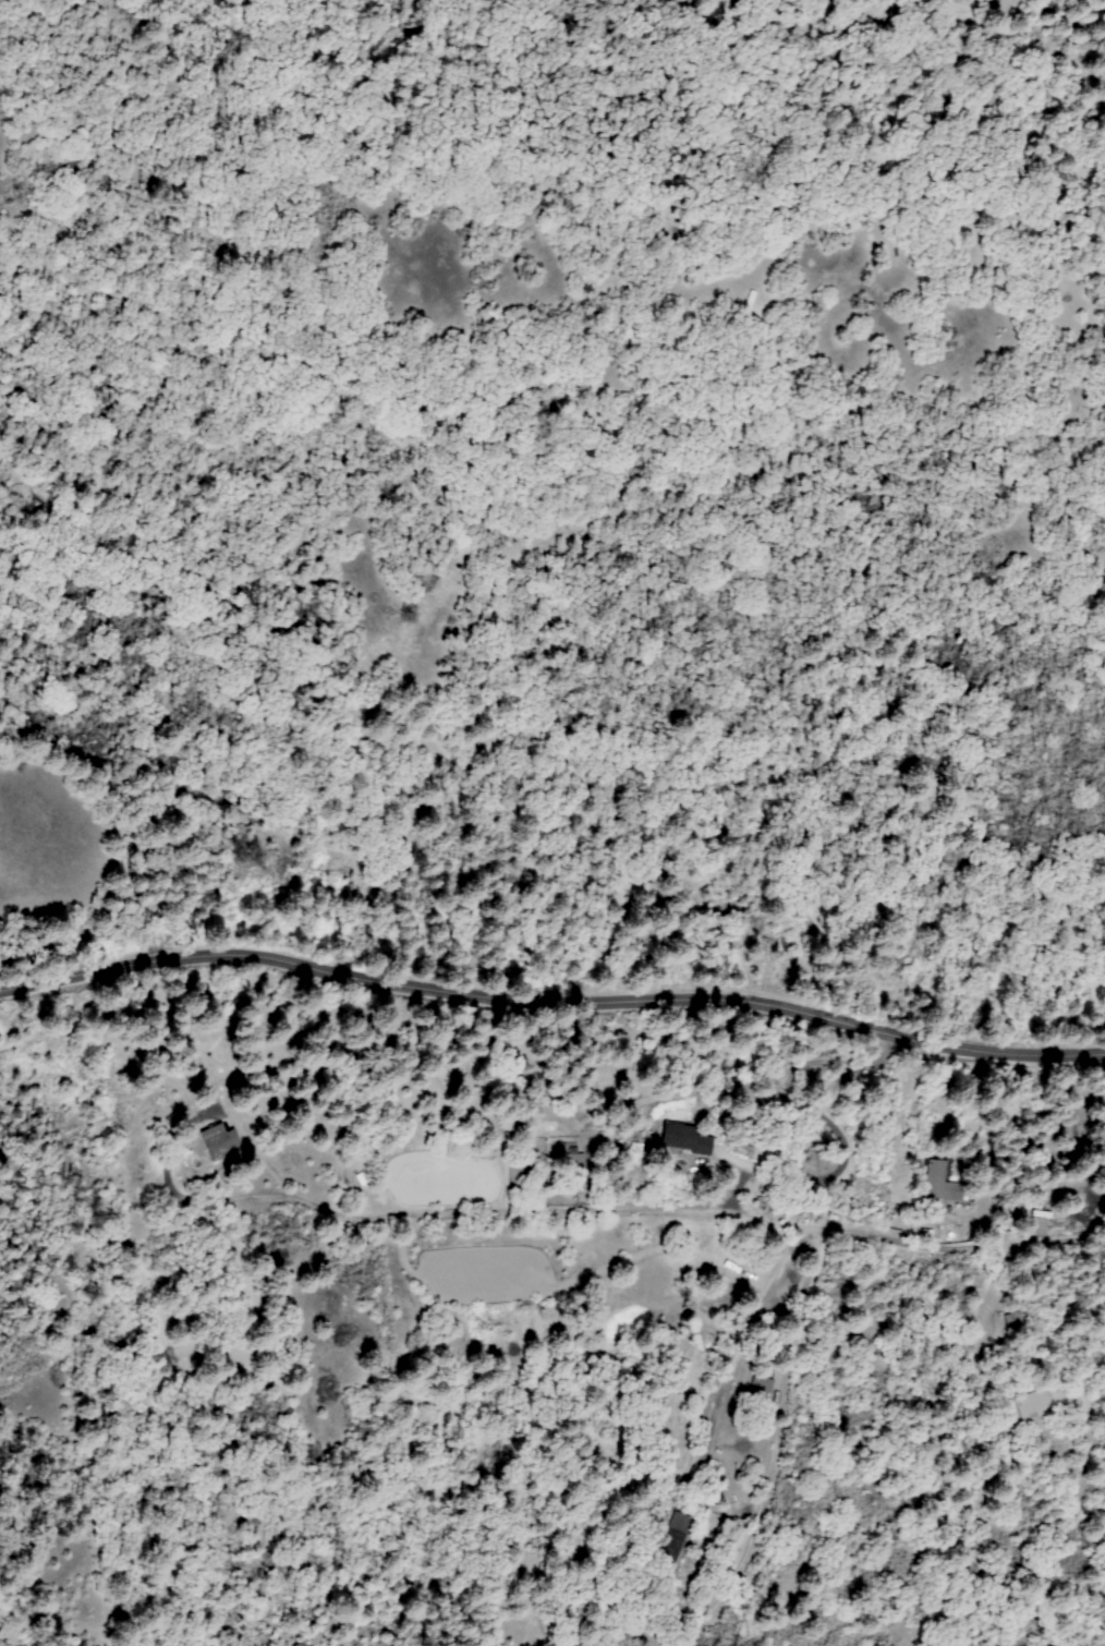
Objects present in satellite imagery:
road: (550, 1003)
building: (679, 1138)
building: (706, 1145)
road: (801, 1303)
building: (762, 1387)
building: (1029, 1405)

